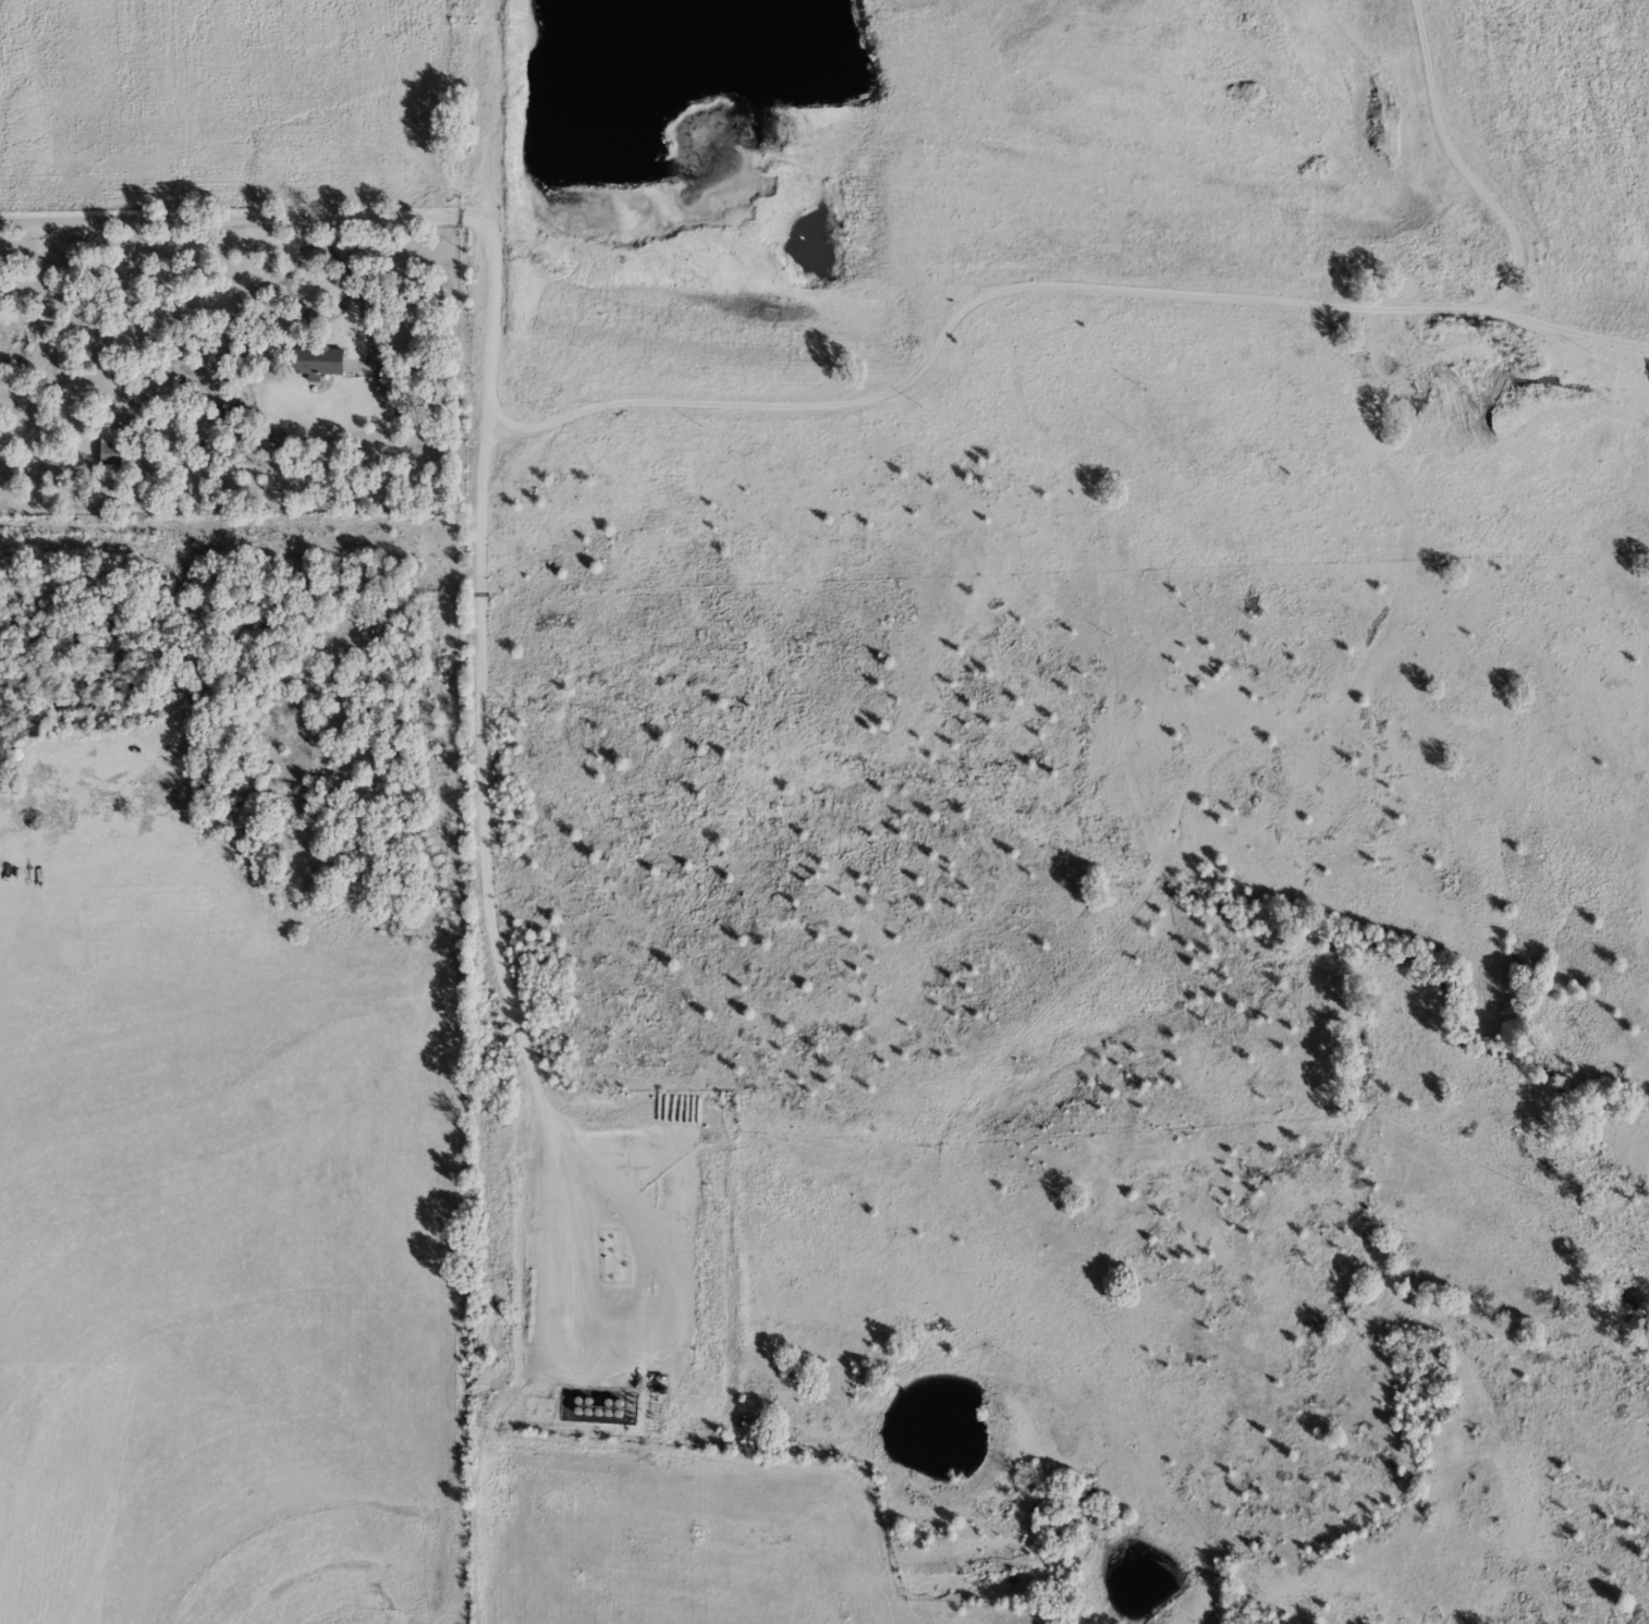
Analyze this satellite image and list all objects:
road: (1459, 172)
road: (823, 282)
road: (493, 332)
building: (314, 358)
road: (755, 402)
building: (109, 452)
road: (484, 782)

